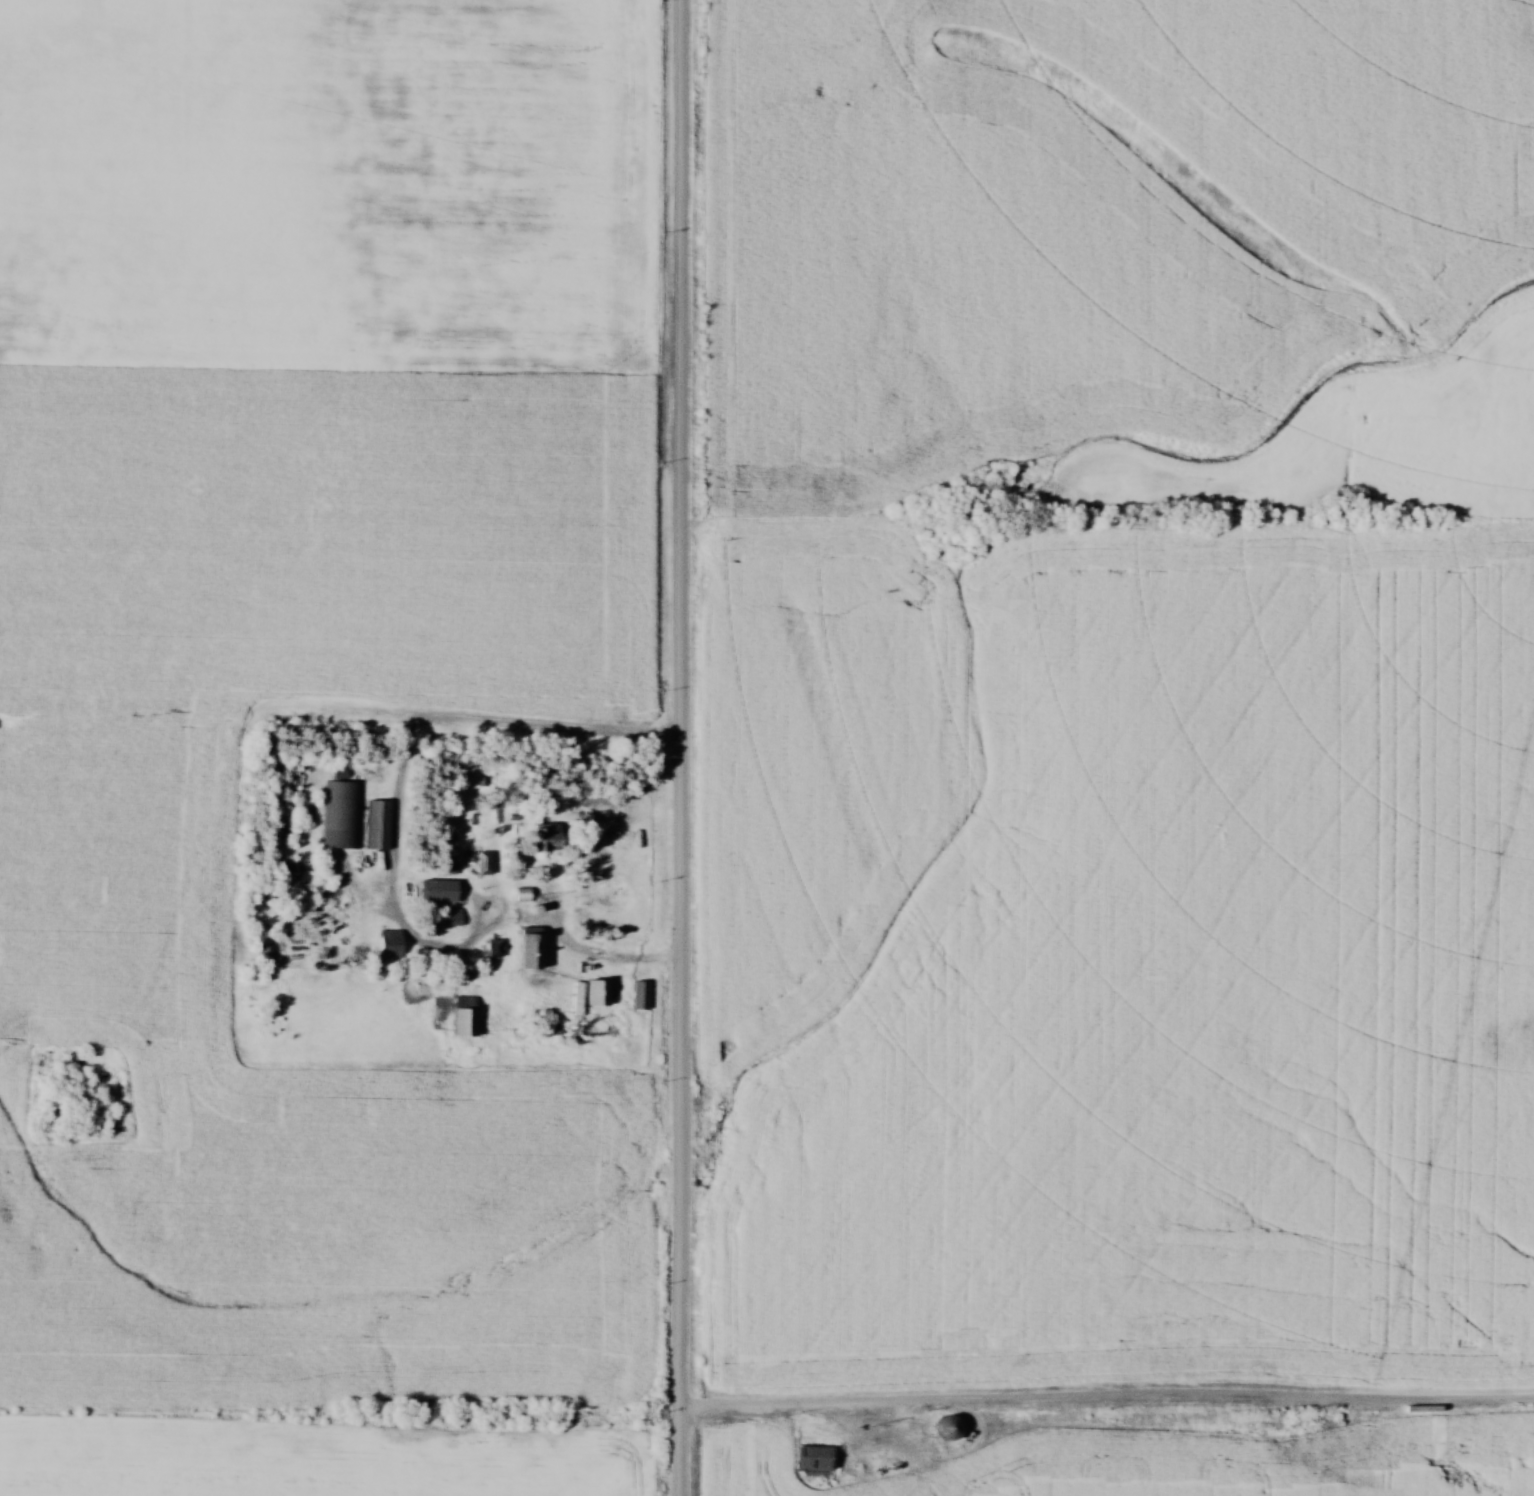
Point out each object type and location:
road: (682, 747)
building: (342, 815)
building: (377, 825)
building: (542, 838)
building: (483, 863)
building: (436, 891)
building: (450, 917)
road: (572, 942)
building: (387, 945)
building: (492, 948)
building: (527, 948)
building: (264, 955)
building: (589, 994)
building: (638, 996)
building: (461, 1016)
road: (1107, 1399)
building: (944, 1428)
building: (809, 1459)

